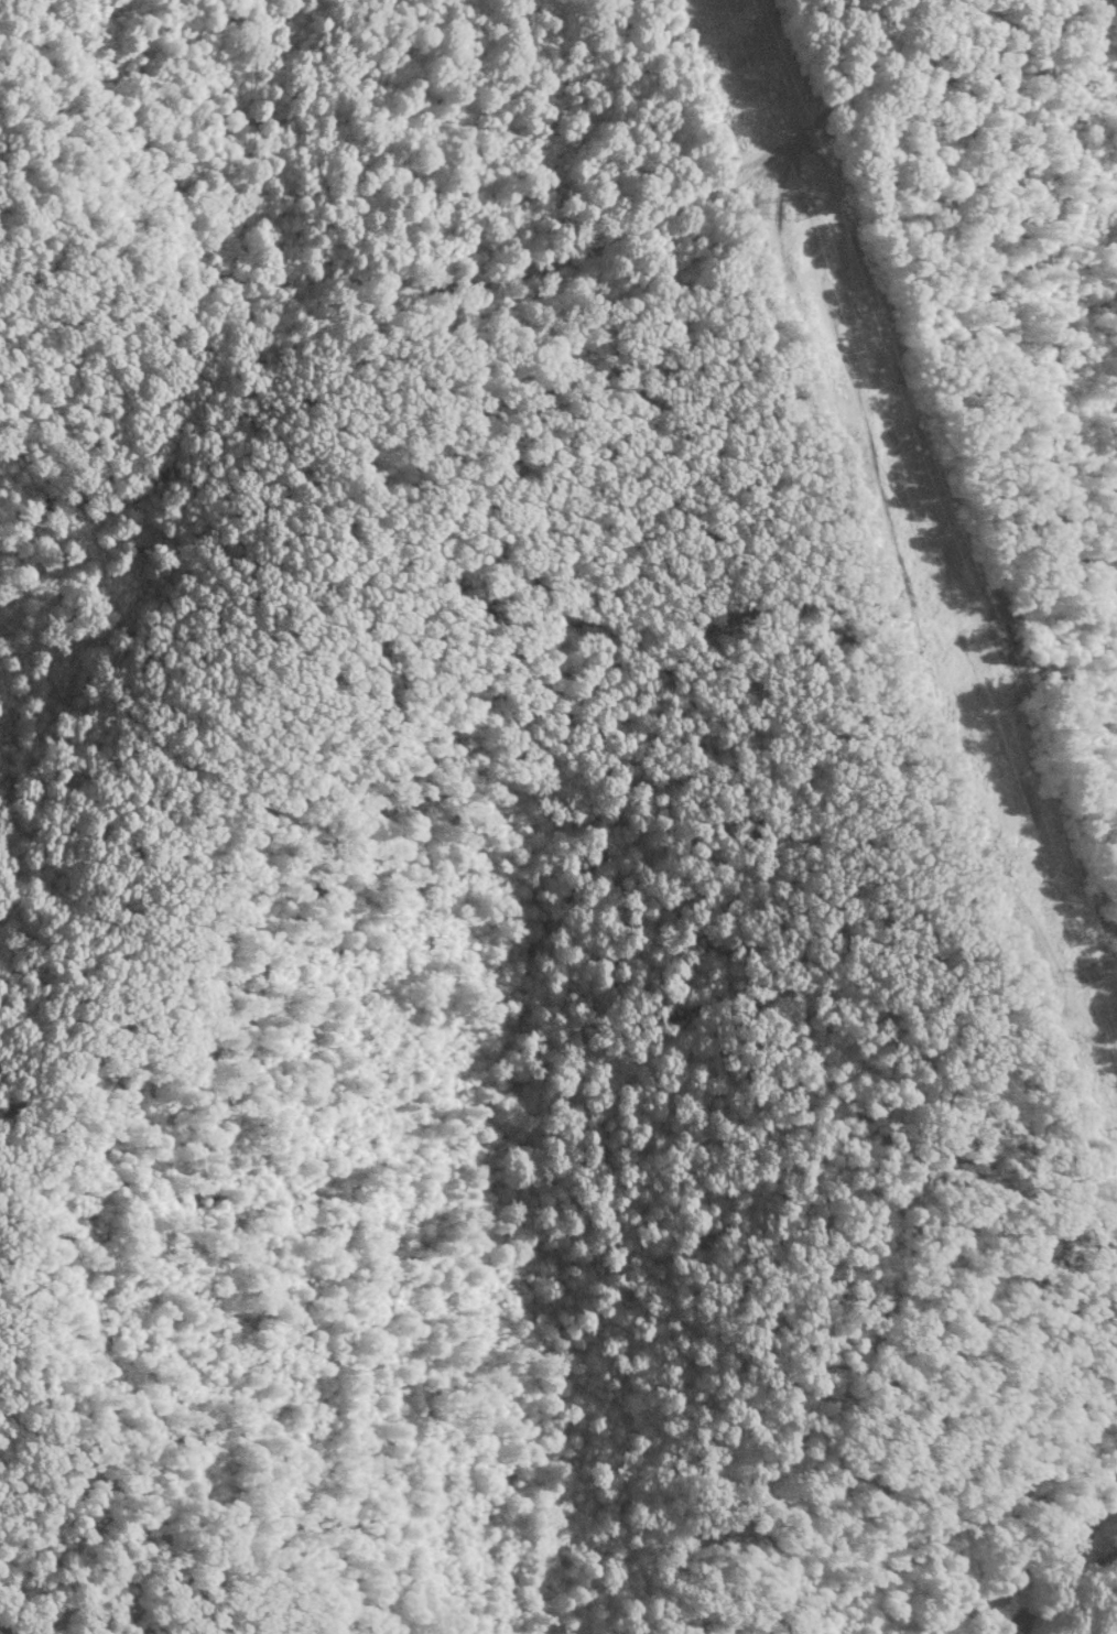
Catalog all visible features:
road: (1064, 1569)

